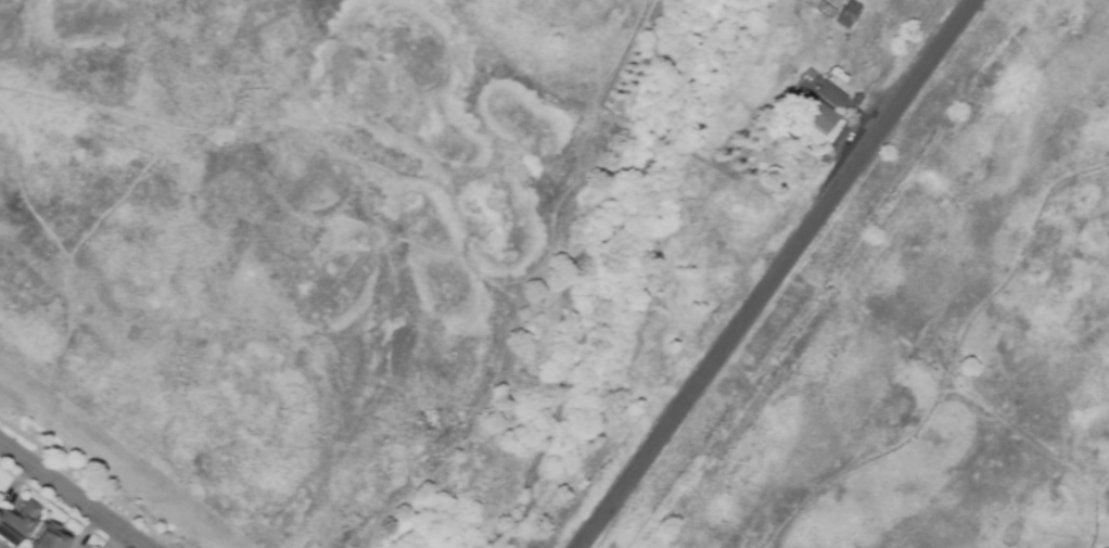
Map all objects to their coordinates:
building: (849, 14)
building: (810, 74)
building: (831, 94)
building: (857, 99)
building: (815, 112)
building: (768, 118)
road: (775, 275)
park: (968, 349)
road: (952, 364)
road: (90, 479)
road: (72, 497)
road: (1097, 510)
building: (16, 522)
building: (51, 537)
road: (168, 546)
road: (175, 547)

